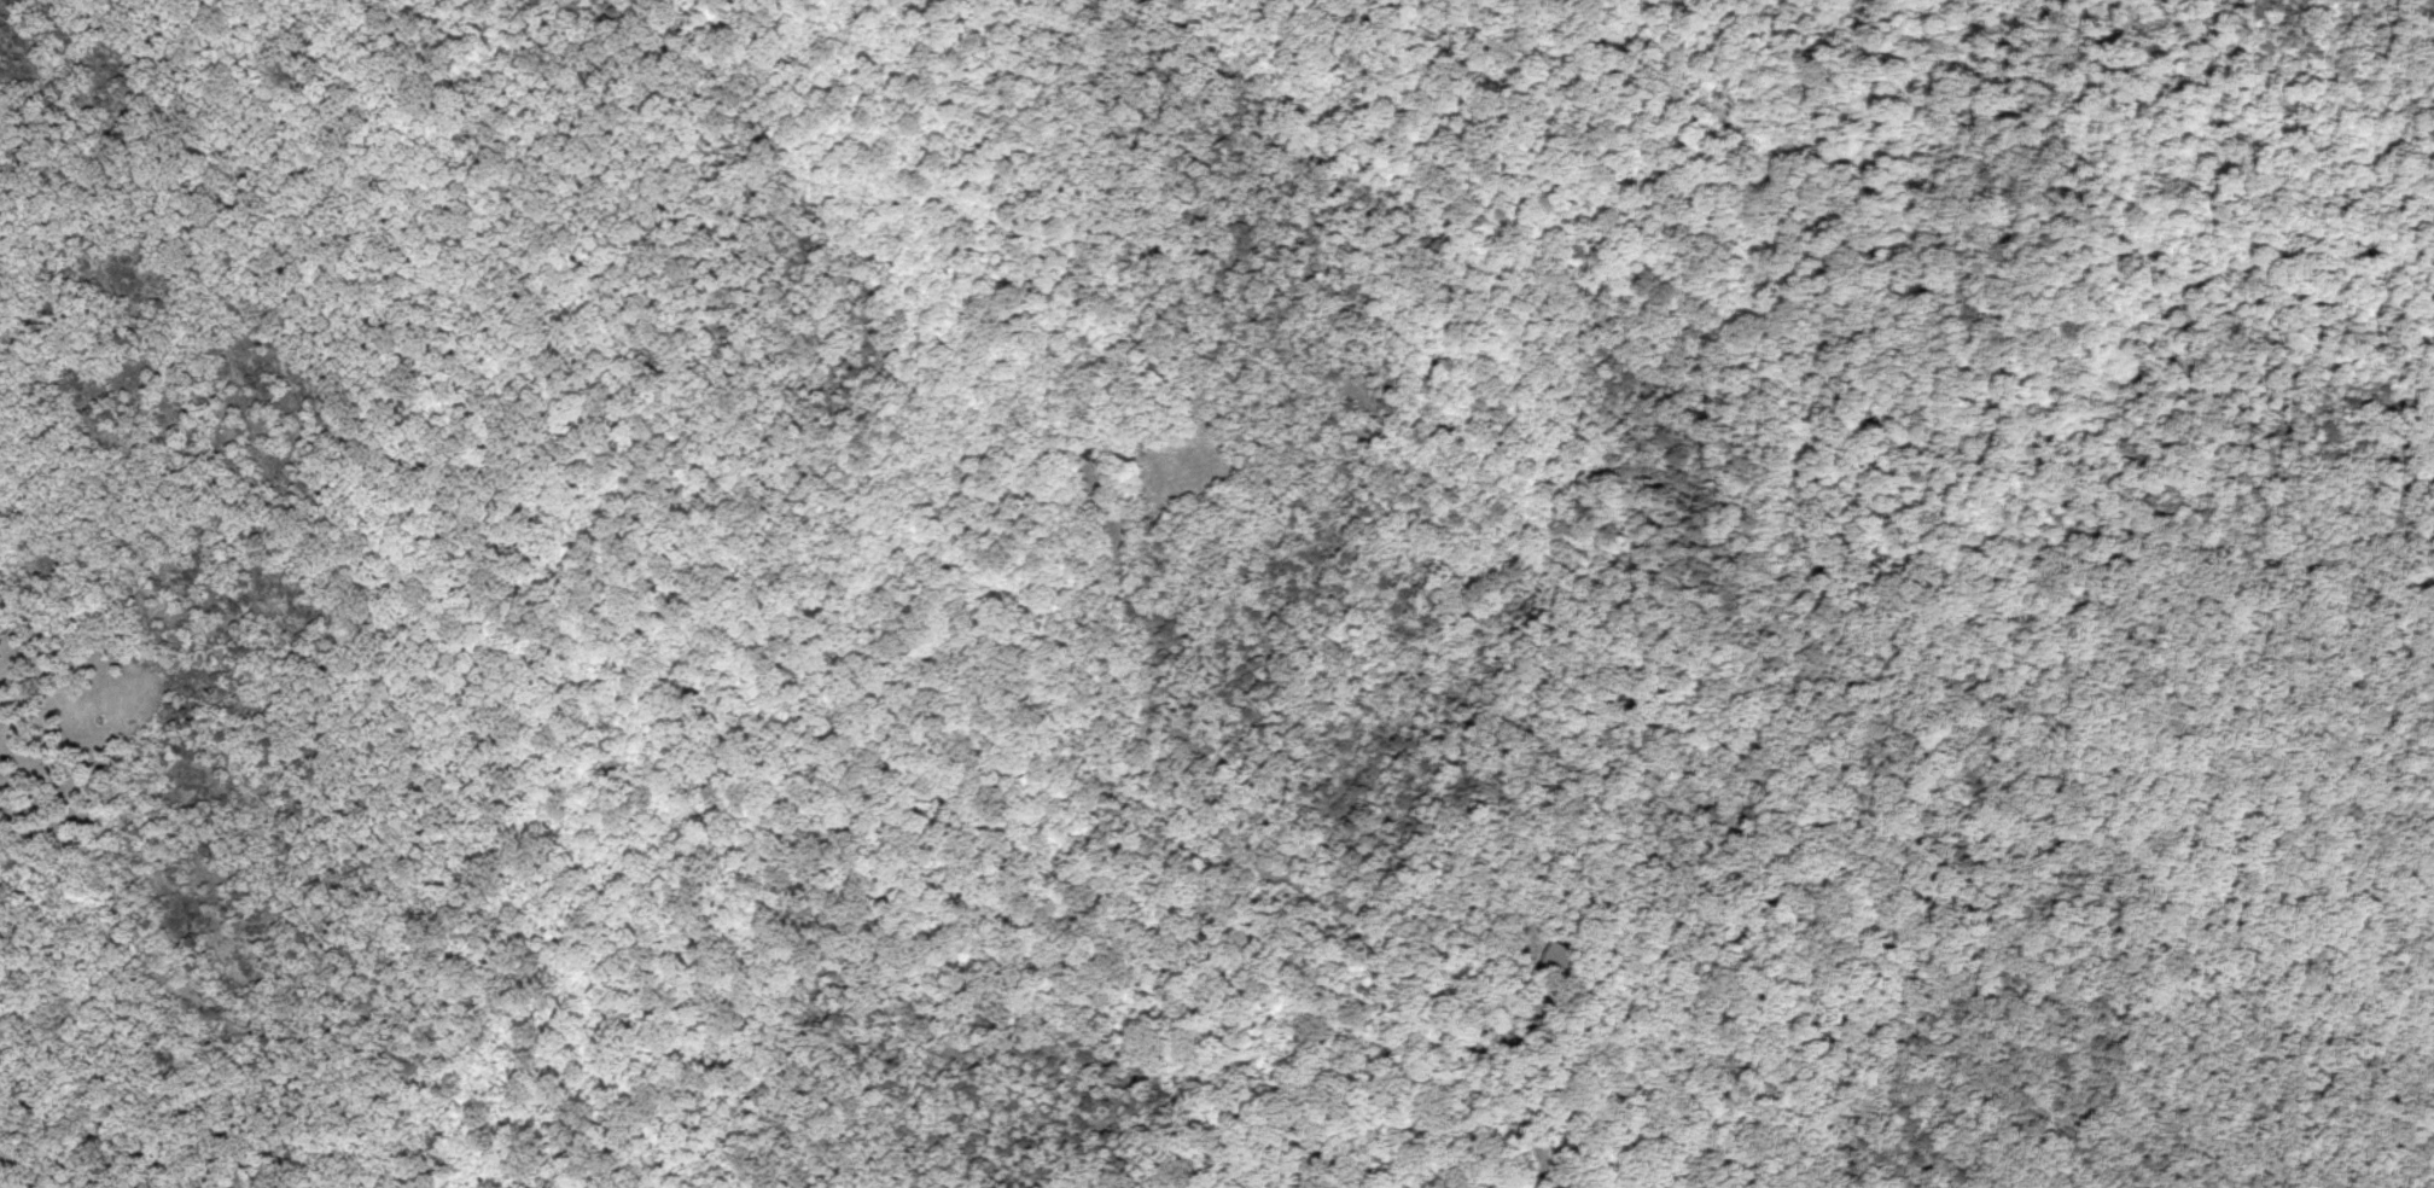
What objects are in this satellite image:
road: (2259, 765)

